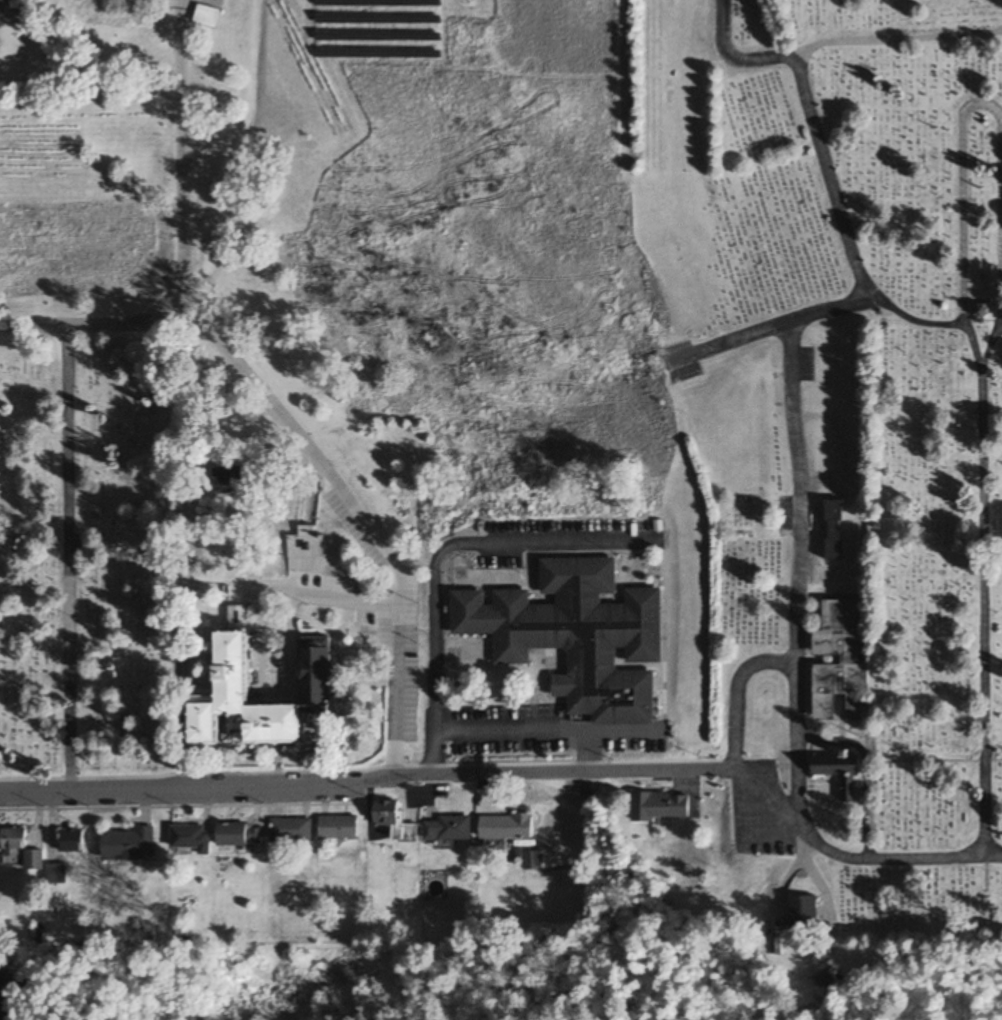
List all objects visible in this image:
building: (207, 15)
solar farm: (369, 28)
road: (732, 59)
road: (981, 105)
road: (819, 150)
road: (184, 243)
road: (736, 340)
parking lot: (803, 363)
road: (795, 450)
building: (231, 475)
park: (828, 481)
road: (360, 512)
building: (310, 550)
park: (91, 555)
road: (441, 572)
road: (982, 588)
road: (323, 600)
building: (376, 632)
building: (576, 636)
building: (840, 660)
building: (317, 670)
road: (794, 670)
building: (235, 727)
road: (551, 737)
road: (596, 755)
building: (841, 775)
road: (340, 782)
building: (661, 806)
parking lot: (760, 818)
building: (396, 821)
building: (340, 827)
building: (508, 827)
building: (450, 828)
building: (293, 830)
building: (241, 834)
building: (191, 839)
building: (71, 841)
road: (815, 842)
building: (129, 844)
building: (21, 849)
road: (993, 856)
building: (533, 860)
building: (56, 873)
road: (786, 879)
road: (822, 893)
building: (804, 913)

